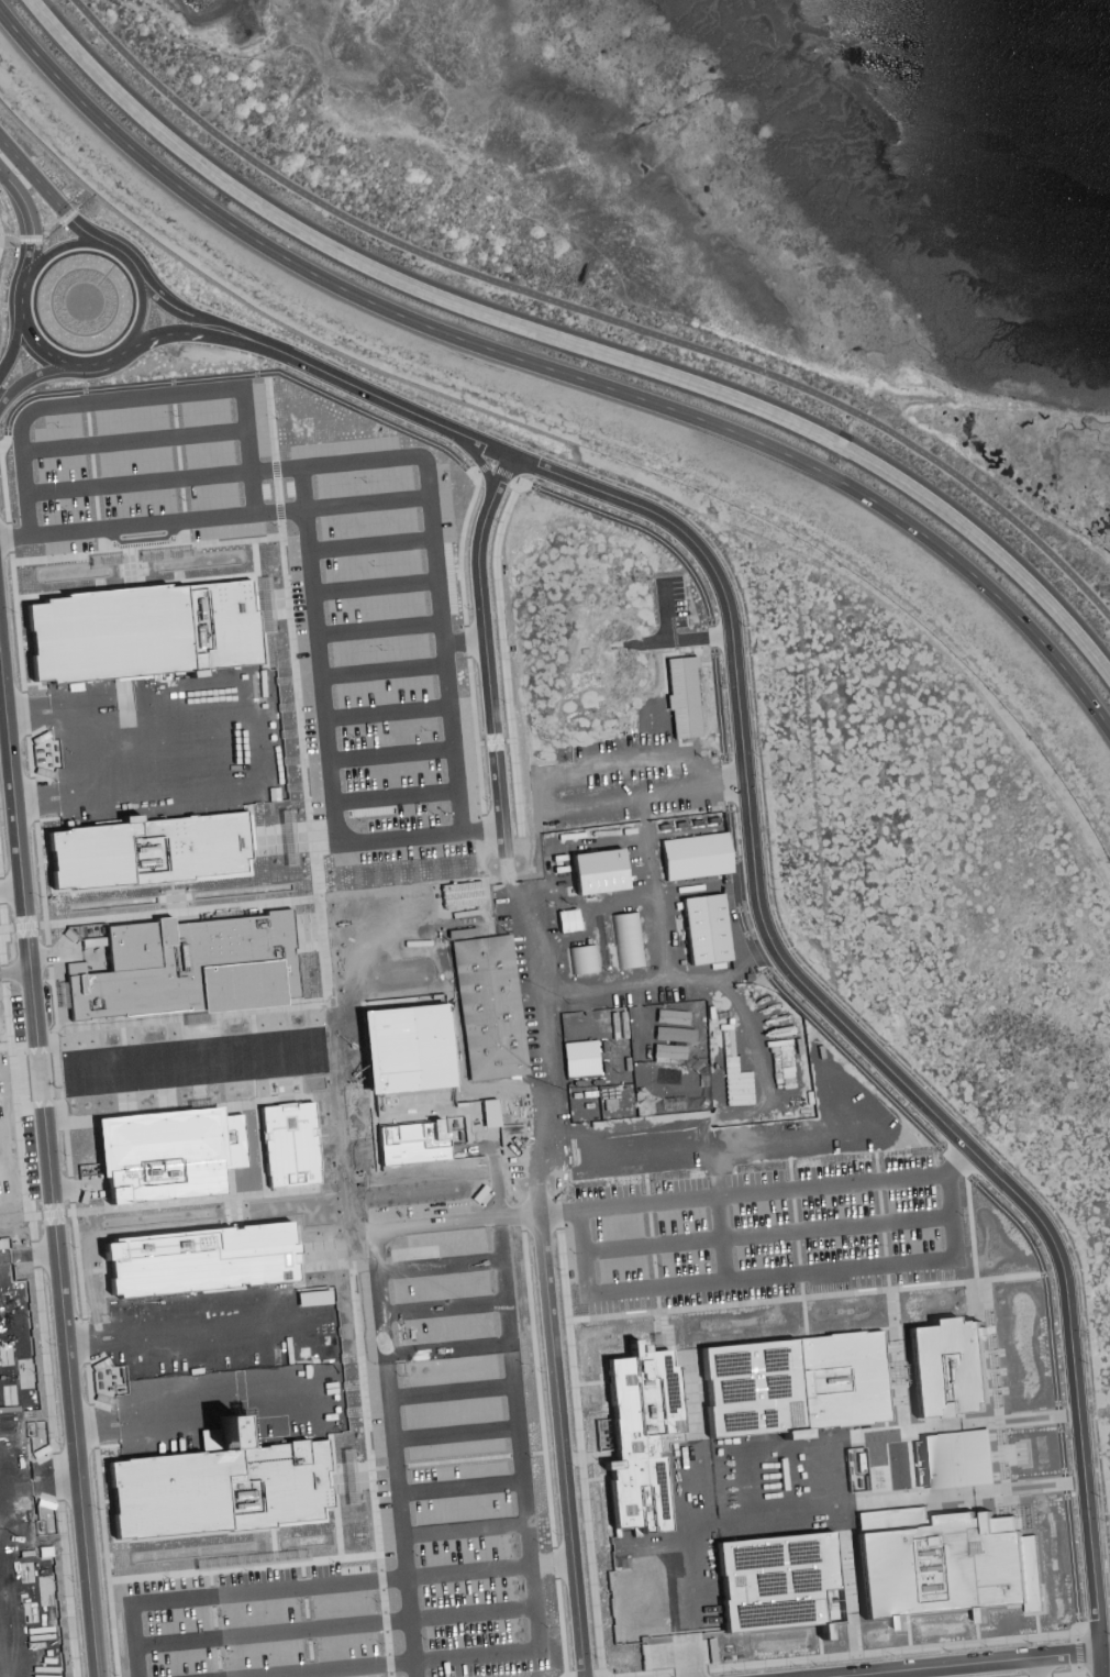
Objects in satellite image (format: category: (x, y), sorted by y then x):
road: (59, 250)
park: (623, 266)
road: (20, 282)
road: (589, 313)
road: (182, 334)
road: (569, 343)
road: (106, 362)
road: (555, 372)
road: (35, 379)
road: (371, 390)
road: (132, 399)
road: (131, 442)
road: (134, 483)
road: (300, 490)
road: (365, 507)
road: (368, 545)
road: (433, 559)
road: (373, 589)
building: (349, 600)
road: (310, 606)
road: (376, 630)
road: (380, 671)
building: (679, 695)
road: (384, 713)
road: (388, 755)
road: (391, 797)
road: (570, 803)
road: (497, 819)
road: (8, 842)
building: (143, 849)
building: (697, 858)
building: (593, 871)
building: (466, 882)
road: (761, 903)
building: (564, 919)
building: (701, 927)
road: (652, 929)
building: (625, 939)
building: (258, 953)
building: (580, 959)
building: (415, 964)
building: (489, 1007)
building: (576, 1057)
building: (424, 1067)
road: (19, 1068)
road: (796, 1137)
building: (217, 1141)
road: (46, 1148)
road: (648, 1151)
road: (969, 1151)
building: (486, 1160)
road: (724, 1238)
road: (779, 1277)
building: (500, 1300)
building: (941, 1364)
building: (835, 1379)
road: (455, 1392)
road: (35, 1415)
building: (473, 1421)
building: (439, 1435)
building: (636, 1437)
road: (564, 1445)
road: (401, 1454)
building: (954, 1459)
road: (249, 1558)
road: (973, 1659)

